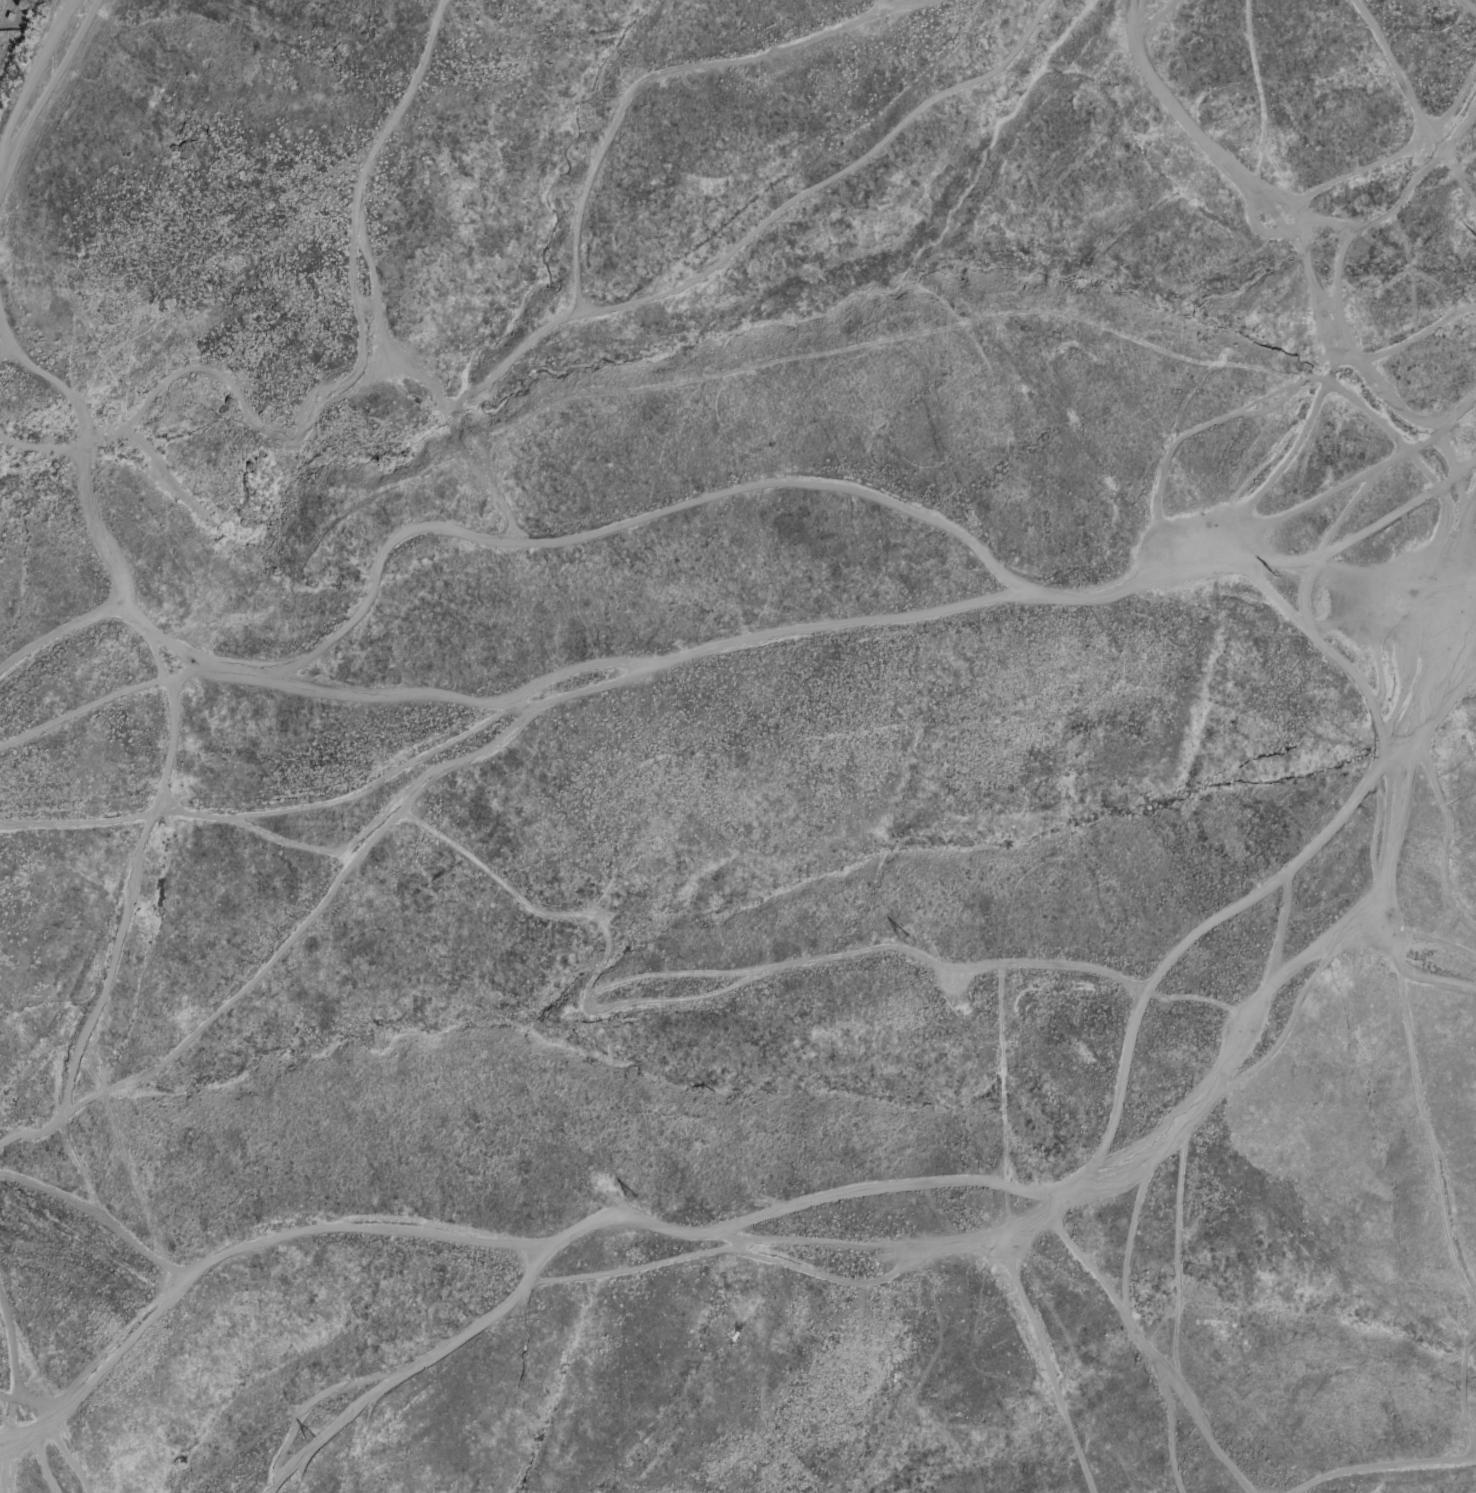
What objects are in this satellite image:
road: (1464, 7)
road: (762, 483)
road: (1439, 697)
road: (121, 932)
road: (7, 1441)

